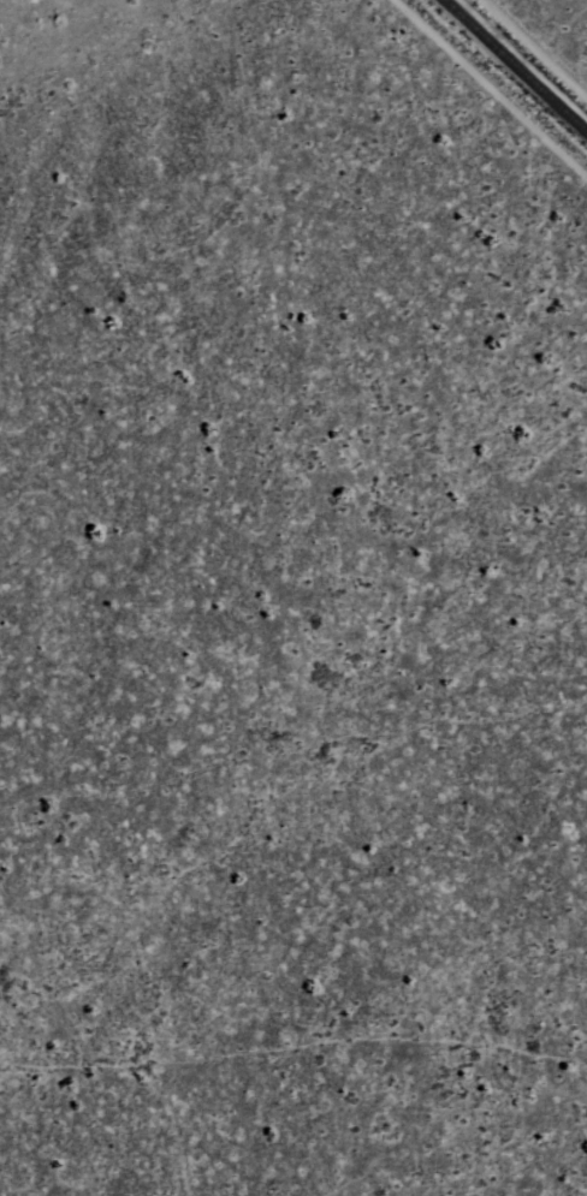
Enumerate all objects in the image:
railway: (515, 66)

